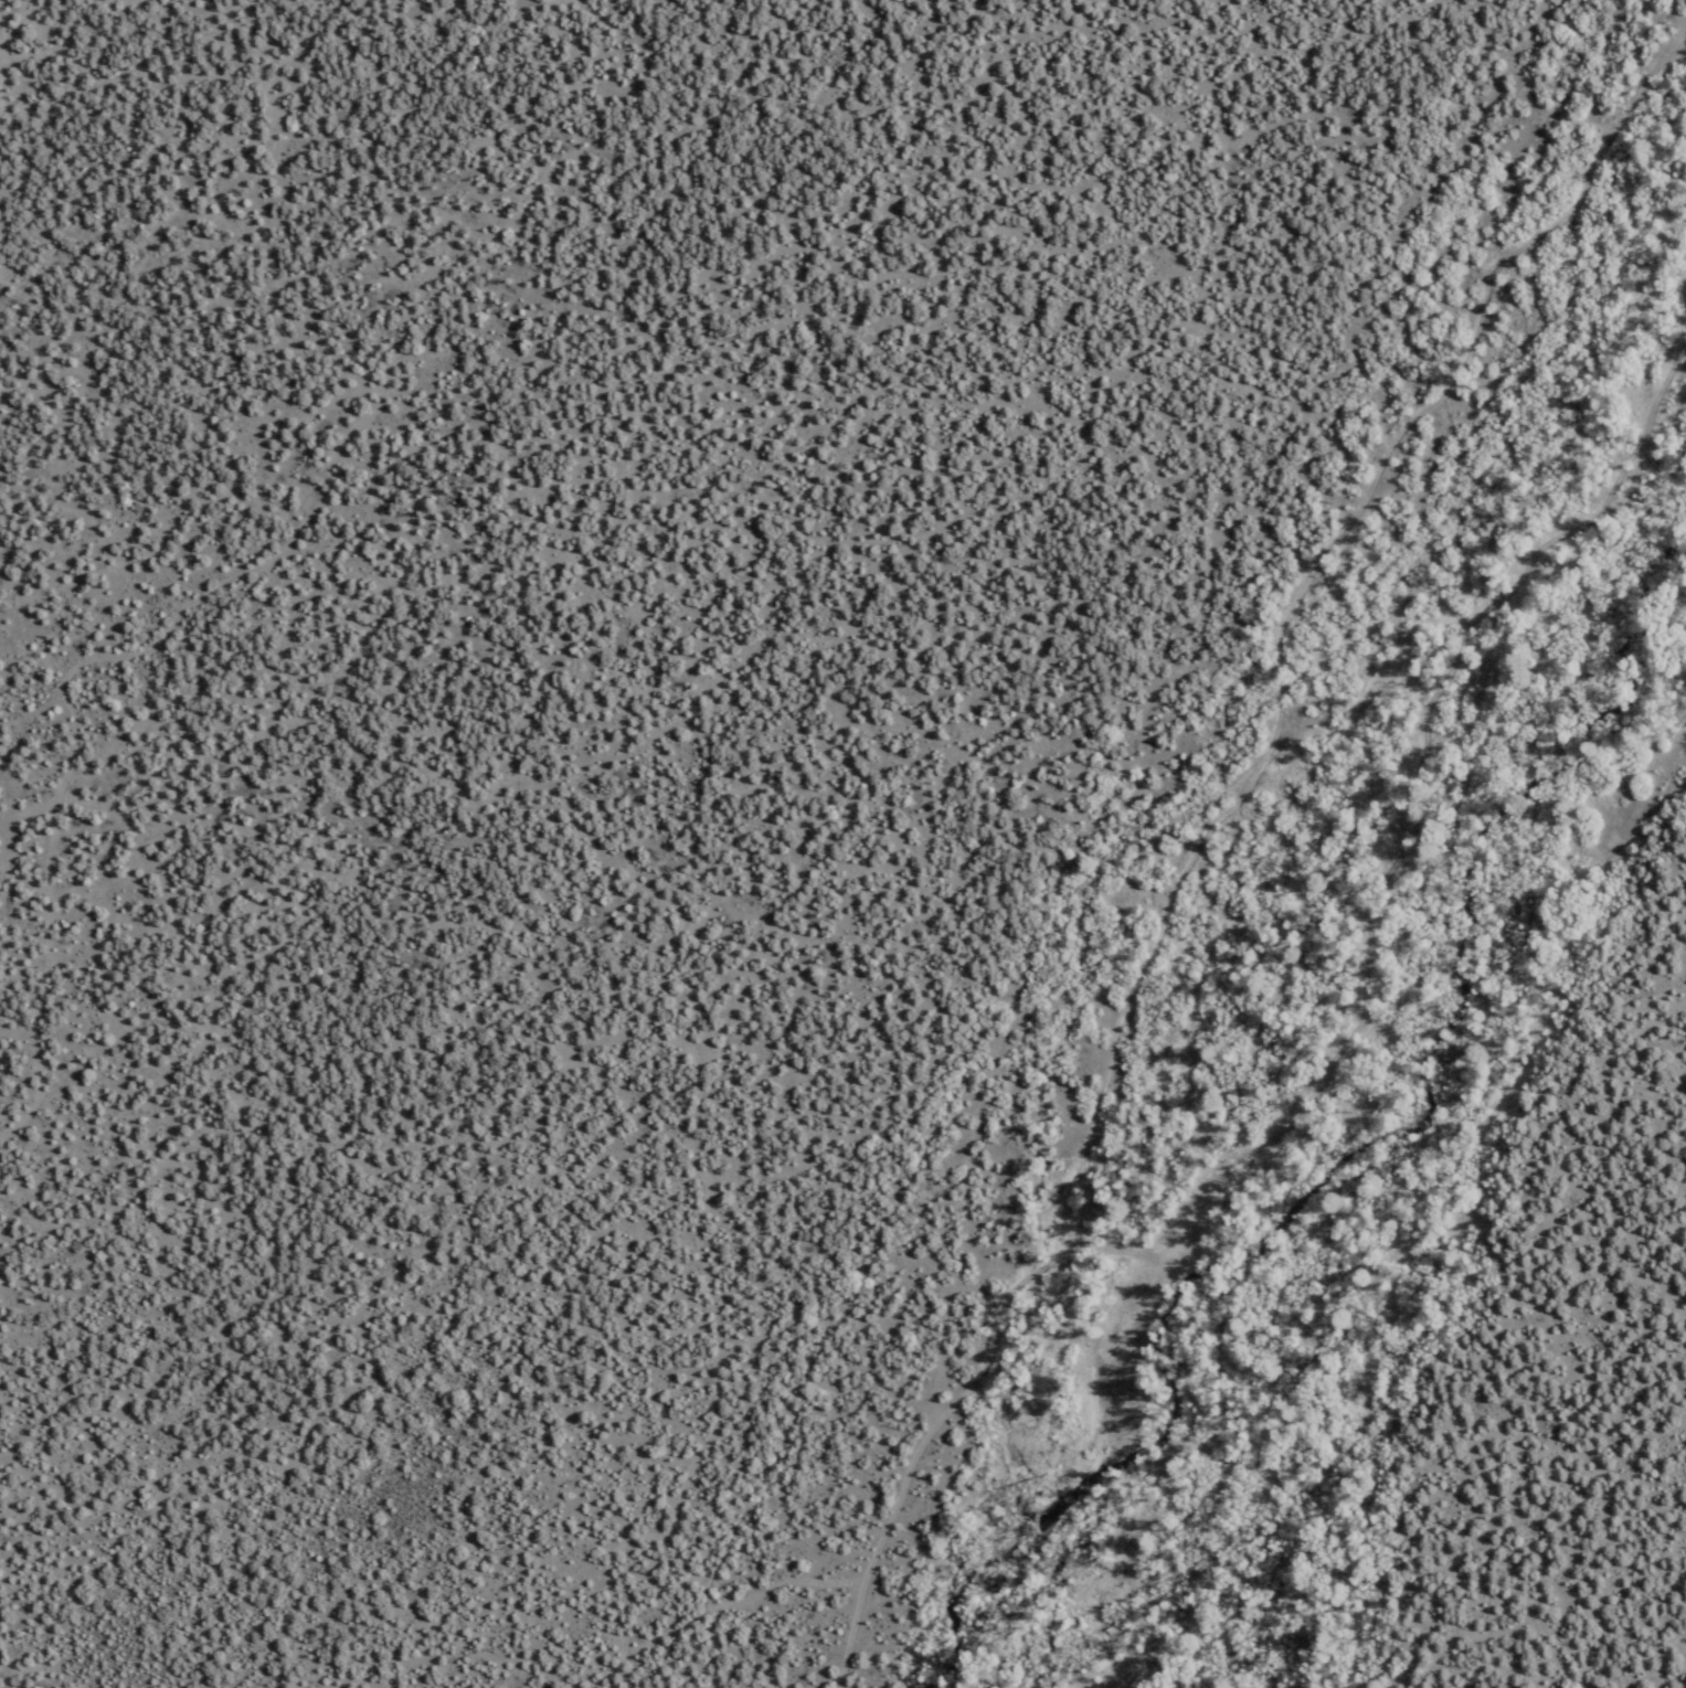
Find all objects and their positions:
road: (1032, 792)

